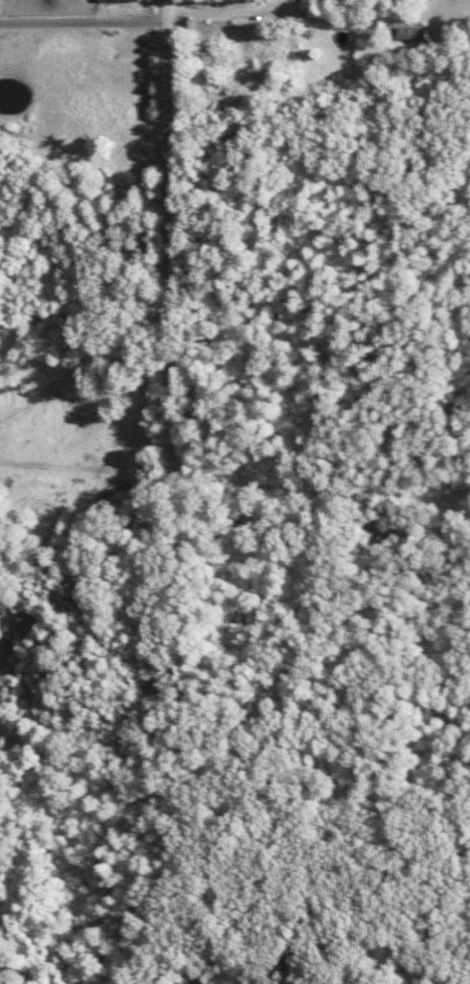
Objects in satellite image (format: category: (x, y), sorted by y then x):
building: (122, 1)
road: (86, 25)
road: (172, 238)
building: (189, 979)

